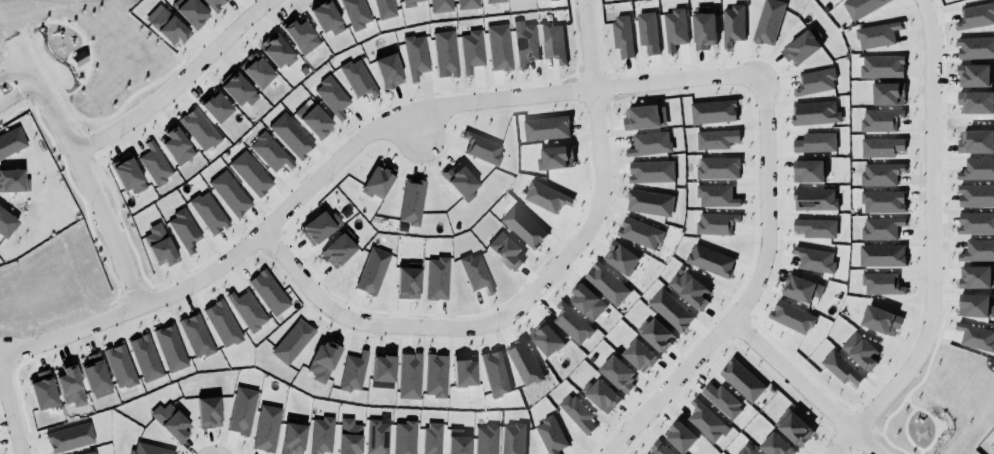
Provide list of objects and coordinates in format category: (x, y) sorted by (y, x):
building: (540, 0)
building: (493, 1)
building: (409, 3)
building: (214, 4)
building: (467, 4)
building: (440, 5)
building: (861, 7)
building: (384, 9)
building: (190, 11)
building: (356, 13)
building: (976, 16)
building: (326, 18)
building: (769, 21)
building: (733, 24)
building: (166, 25)
building: (673, 26)
road: (27, 27)
building: (705, 30)
building: (648, 32)
building: (877, 34)
building: (301, 36)
road: (84, 41)
building: (553, 41)
building: (525, 43)
building: (799, 43)
building: (499, 47)
building: (976, 47)
building: (276, 51)
building: (471, 51)
building: (445, 54)
building: (415, 56)
building: (80, 59)
park: (96, 62)
road: (43, 64)
building: (882, 66)
building: (256, 70)
building: (388, 71)
road: (13, 74)
building: (974, 75)
building: (358, 79)
road: (175, 81)
building: (816, 81)
building: (238, 90)
building: (888, 92)
road: (134, 93)
building: (332, 97)
road: (19, 98)
building: (976, 102)
road: (68, 106)
building: (216, 107)
building: (713, 111)
building: (815, 112)
building: (644, 117)
building: (881, 119)
building: (313, 120)
road: (74, 125)
building: (545, 125)
building: (199, 129)
building: (291, 135)
building: (716, 138)
building: (11, 142)
building: (648, 142)
building: (816, 142)
building: (976, 142)
road: (84, 145)
building: (177, 146)
building: (882, 146)
building: (482, 147)
building: (269, 153)
building: (555, 153)
road: (78, 161)
building: (155, 164)
building: (716, 166)
building: (978, 169)
building: (810, 170)
building: (651, 171)
building: (251, 173)
building: (881, 173)
building: (128, 175)
building: (376, 177)
building: (13, 181)
building: (460, 181)
road: (601, 188)
building: (230, 193)
building: (717, 195)
building: (976, 195)
building: (546, 196)
building: (815, 198)
building: (409, 199)
building: (648, 199)
building: (883, 200)
road: (292, 203)
building: (209, 213)
road: (762, 214)
building: (716, 222)
building: (976, 222)
building: (523, 223)
building: (6, 224)
building: (319, 227)
building: (816, 227)
road: (930, 227)
building: (881, 228)
building: (184, 230)
building: (640, 232)
building: (159, 245)
building: (504, 245)
building: (338, 248)
building: (978, 250)
building: (882, 255)
building: (621, 256)
building: (815, 258)
building: (710, 260)
building: (371, 270)
building: (476, 272)
building: (976, 277)
building: (437, 278)
building: (407, 281)
building: (607, 283)
building: (882, 283)
building: (802, 287)
building: (690, 289)
building: (269, 292)
building: (586, 298)
building: (976, 305)
building: (671, 309)
building: (247, 310)
building: (792, 316)
building: (880, 319)
road: (354, 321)
building: (571, 321)
building: (222, 323)
building: (195, 334)
building: (656, 334)
building: (977, 336)
building: (291, 339)
building: (546, 339)
building: (170, 349)
building: (861, 350)
building: (640, 355)
building: (88, 356)
building: (145, 358)
building: (323, 360)
building: (525, 362)
building: (119, 363)
building: (461, 367)
building: (841, 367)
building: (351, 369)
building: (382, 370)
road: (924, 370)
building: (618, 372)
building: (495, 373)
building: (436, 375)
building: (96, 376)
building: (409, 376)
building: (742, 380)
road: (802, 386)
building: (70, 387)
building: (42, 390)
building: (602, 394)
building: (723, 399)
road: (907, 402)
park: (936, 403)
road: (14, 406)
building: (75, 408)
building: (242, 410)
building: (209, 412)
building: (577, 412)
road: (890, 412)
building: (707, 421)
building: (171, 422)
road: (860, 426)
road: (934, 426)
building: (794, 427)
building: (266, 428)
road: (875, 431)
road: (903, 431)
building: (551, 434)
building: (321, 435)
building: (349, 436)
building: (402, 436)
building: (682, 436)
building: (69, 437)
building: (293, 437)
building: (377, 437)
building: (513, 438)
building: (432, 439)
building: (486, 440)
road: (838, 441)
building: (458, 442)
building: (777, 445)
road: (891, 446)
building: (660, 448)
building: (149, 449)
building: (747, 451)
road: (919, 452)
building: (90, 453)

